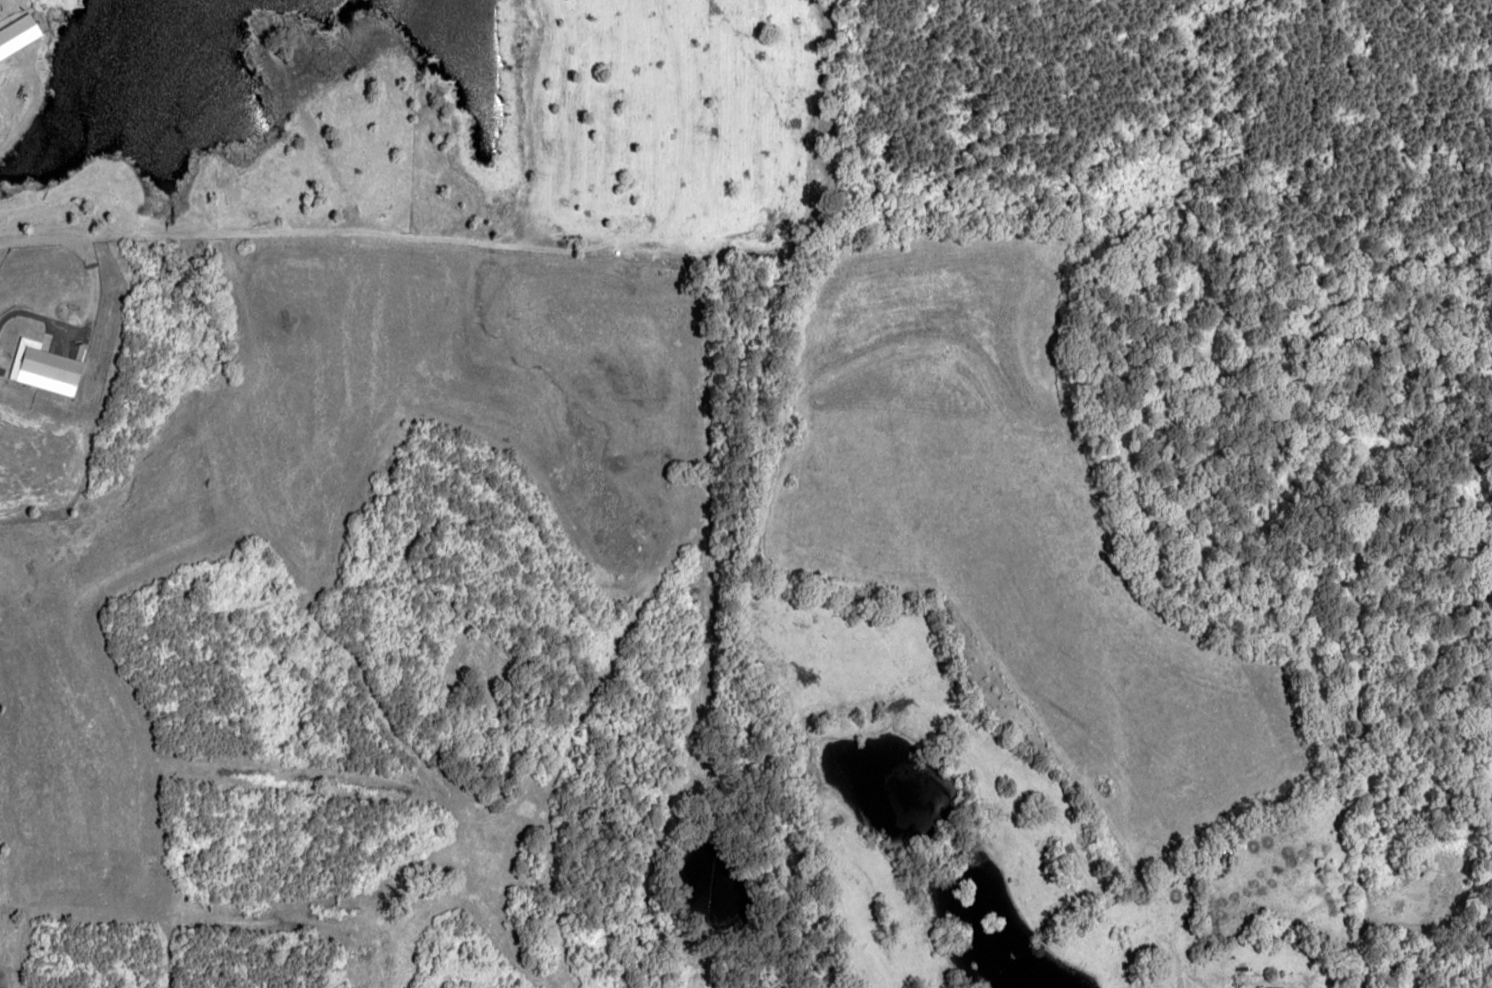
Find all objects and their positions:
building: (18, 33)
building: (44, 367)
building: (1271, 987)

